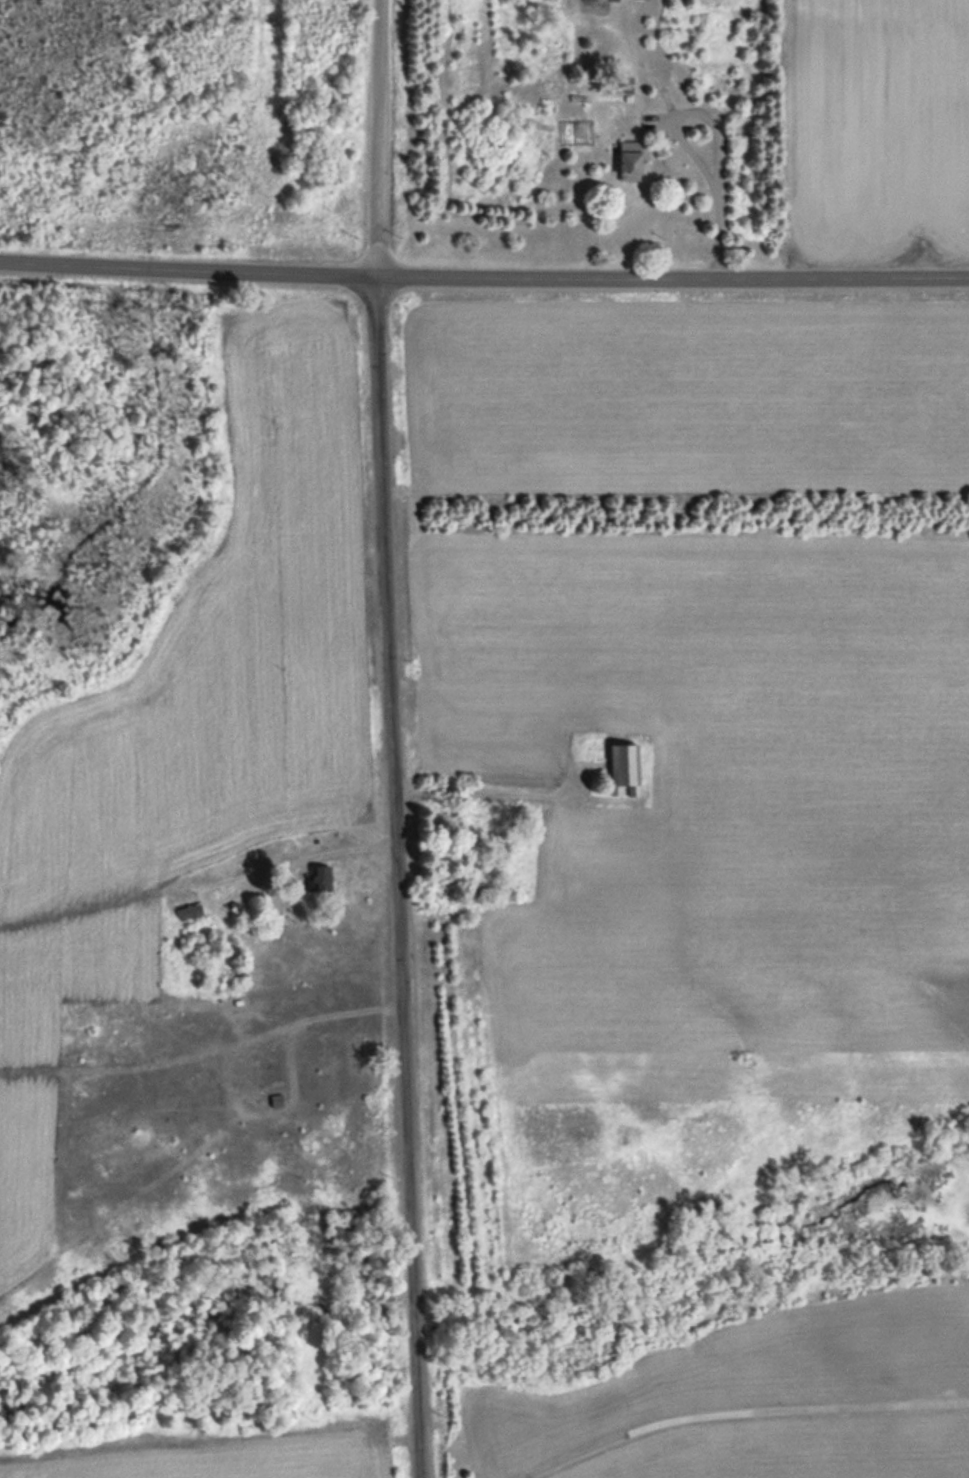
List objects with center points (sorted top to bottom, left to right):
building: (592, 0)
road: (717, 132)
building: (632, 160)
road: (484, 276)
road: (392, 739)
building: (626, 765)
building: (322, 875)
road: (738, 1410)

